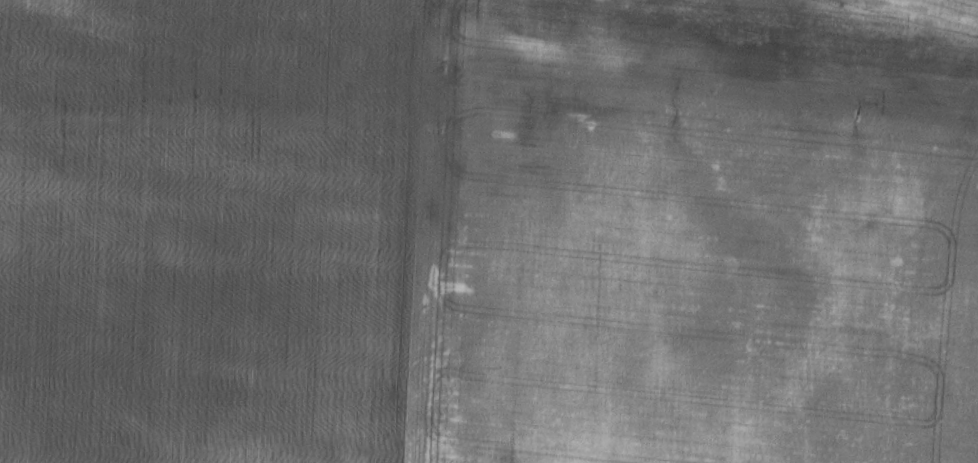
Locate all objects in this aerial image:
crop: (702, 233)

